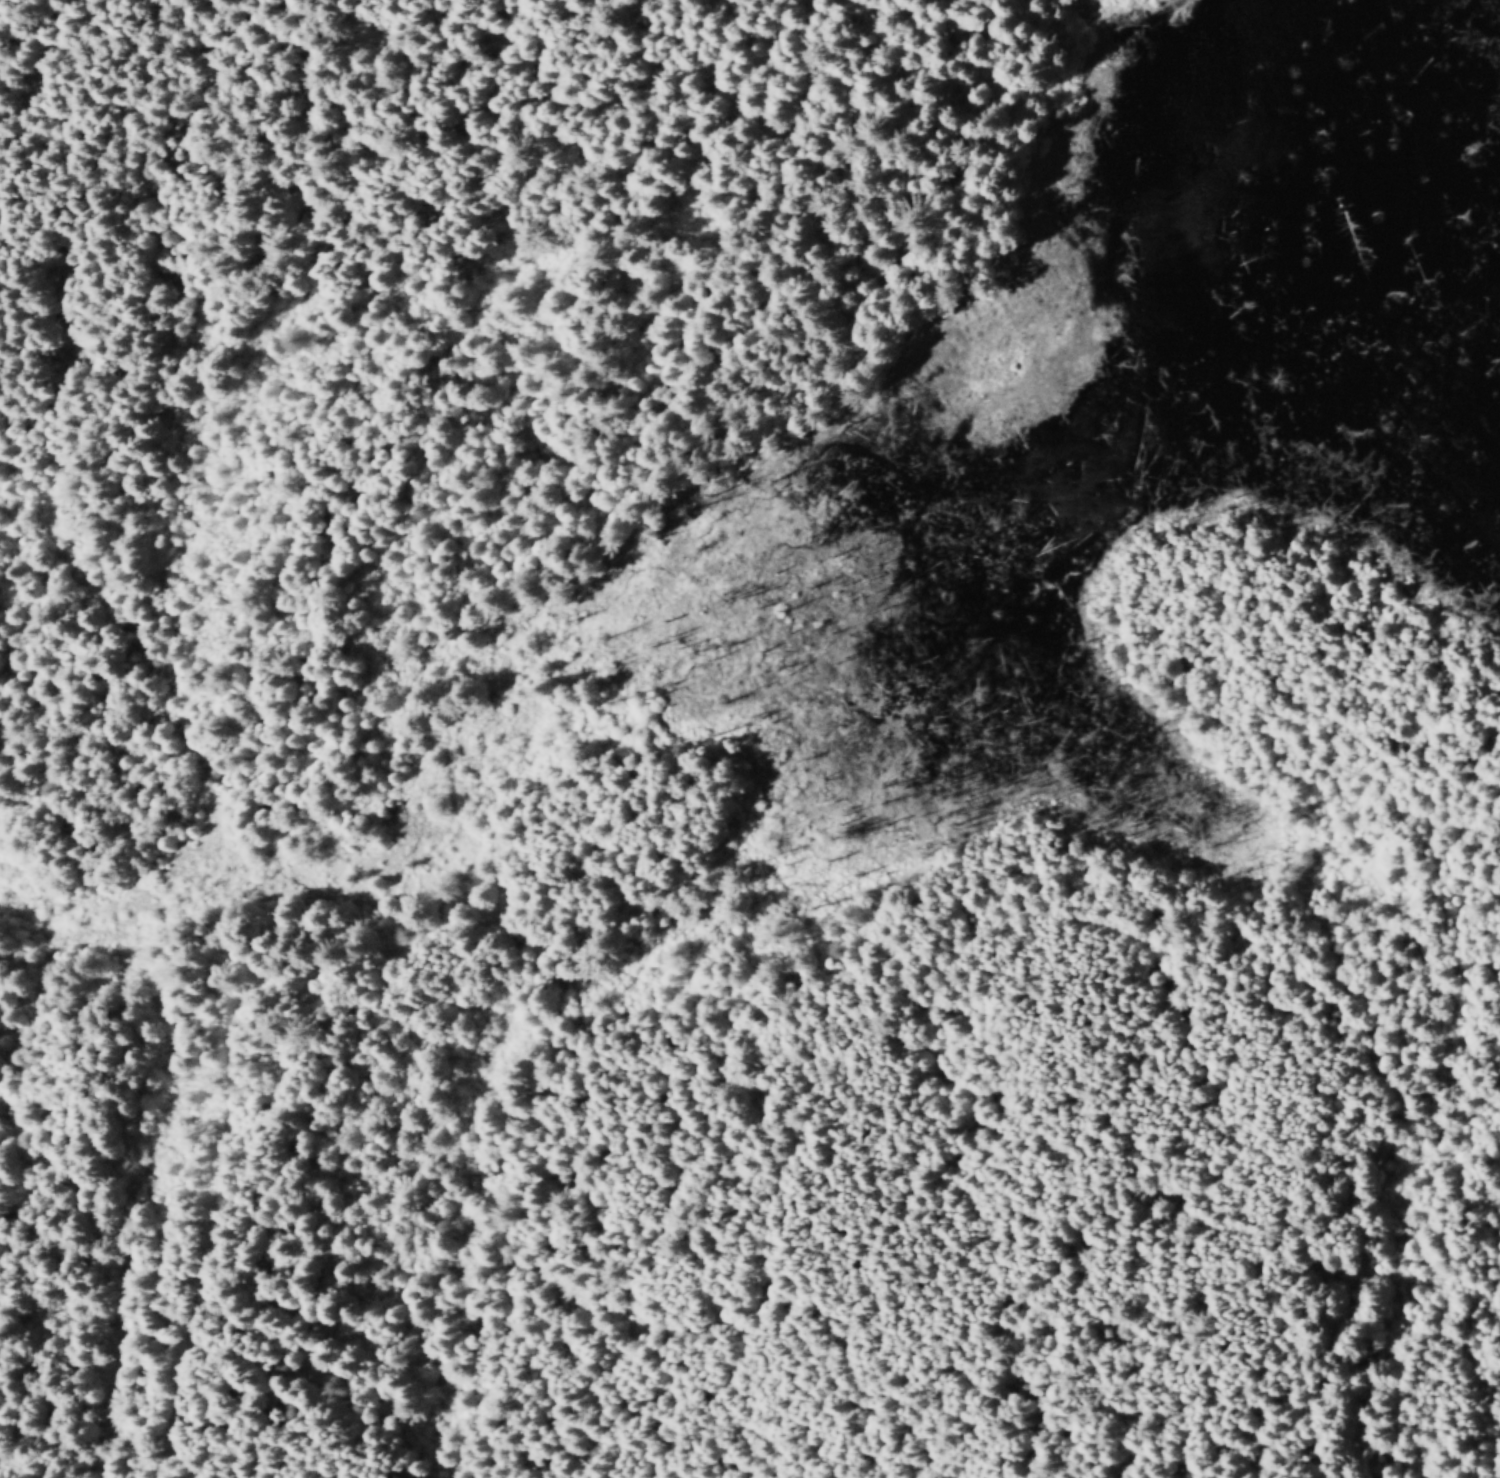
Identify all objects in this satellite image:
road: (1471, 1343)

